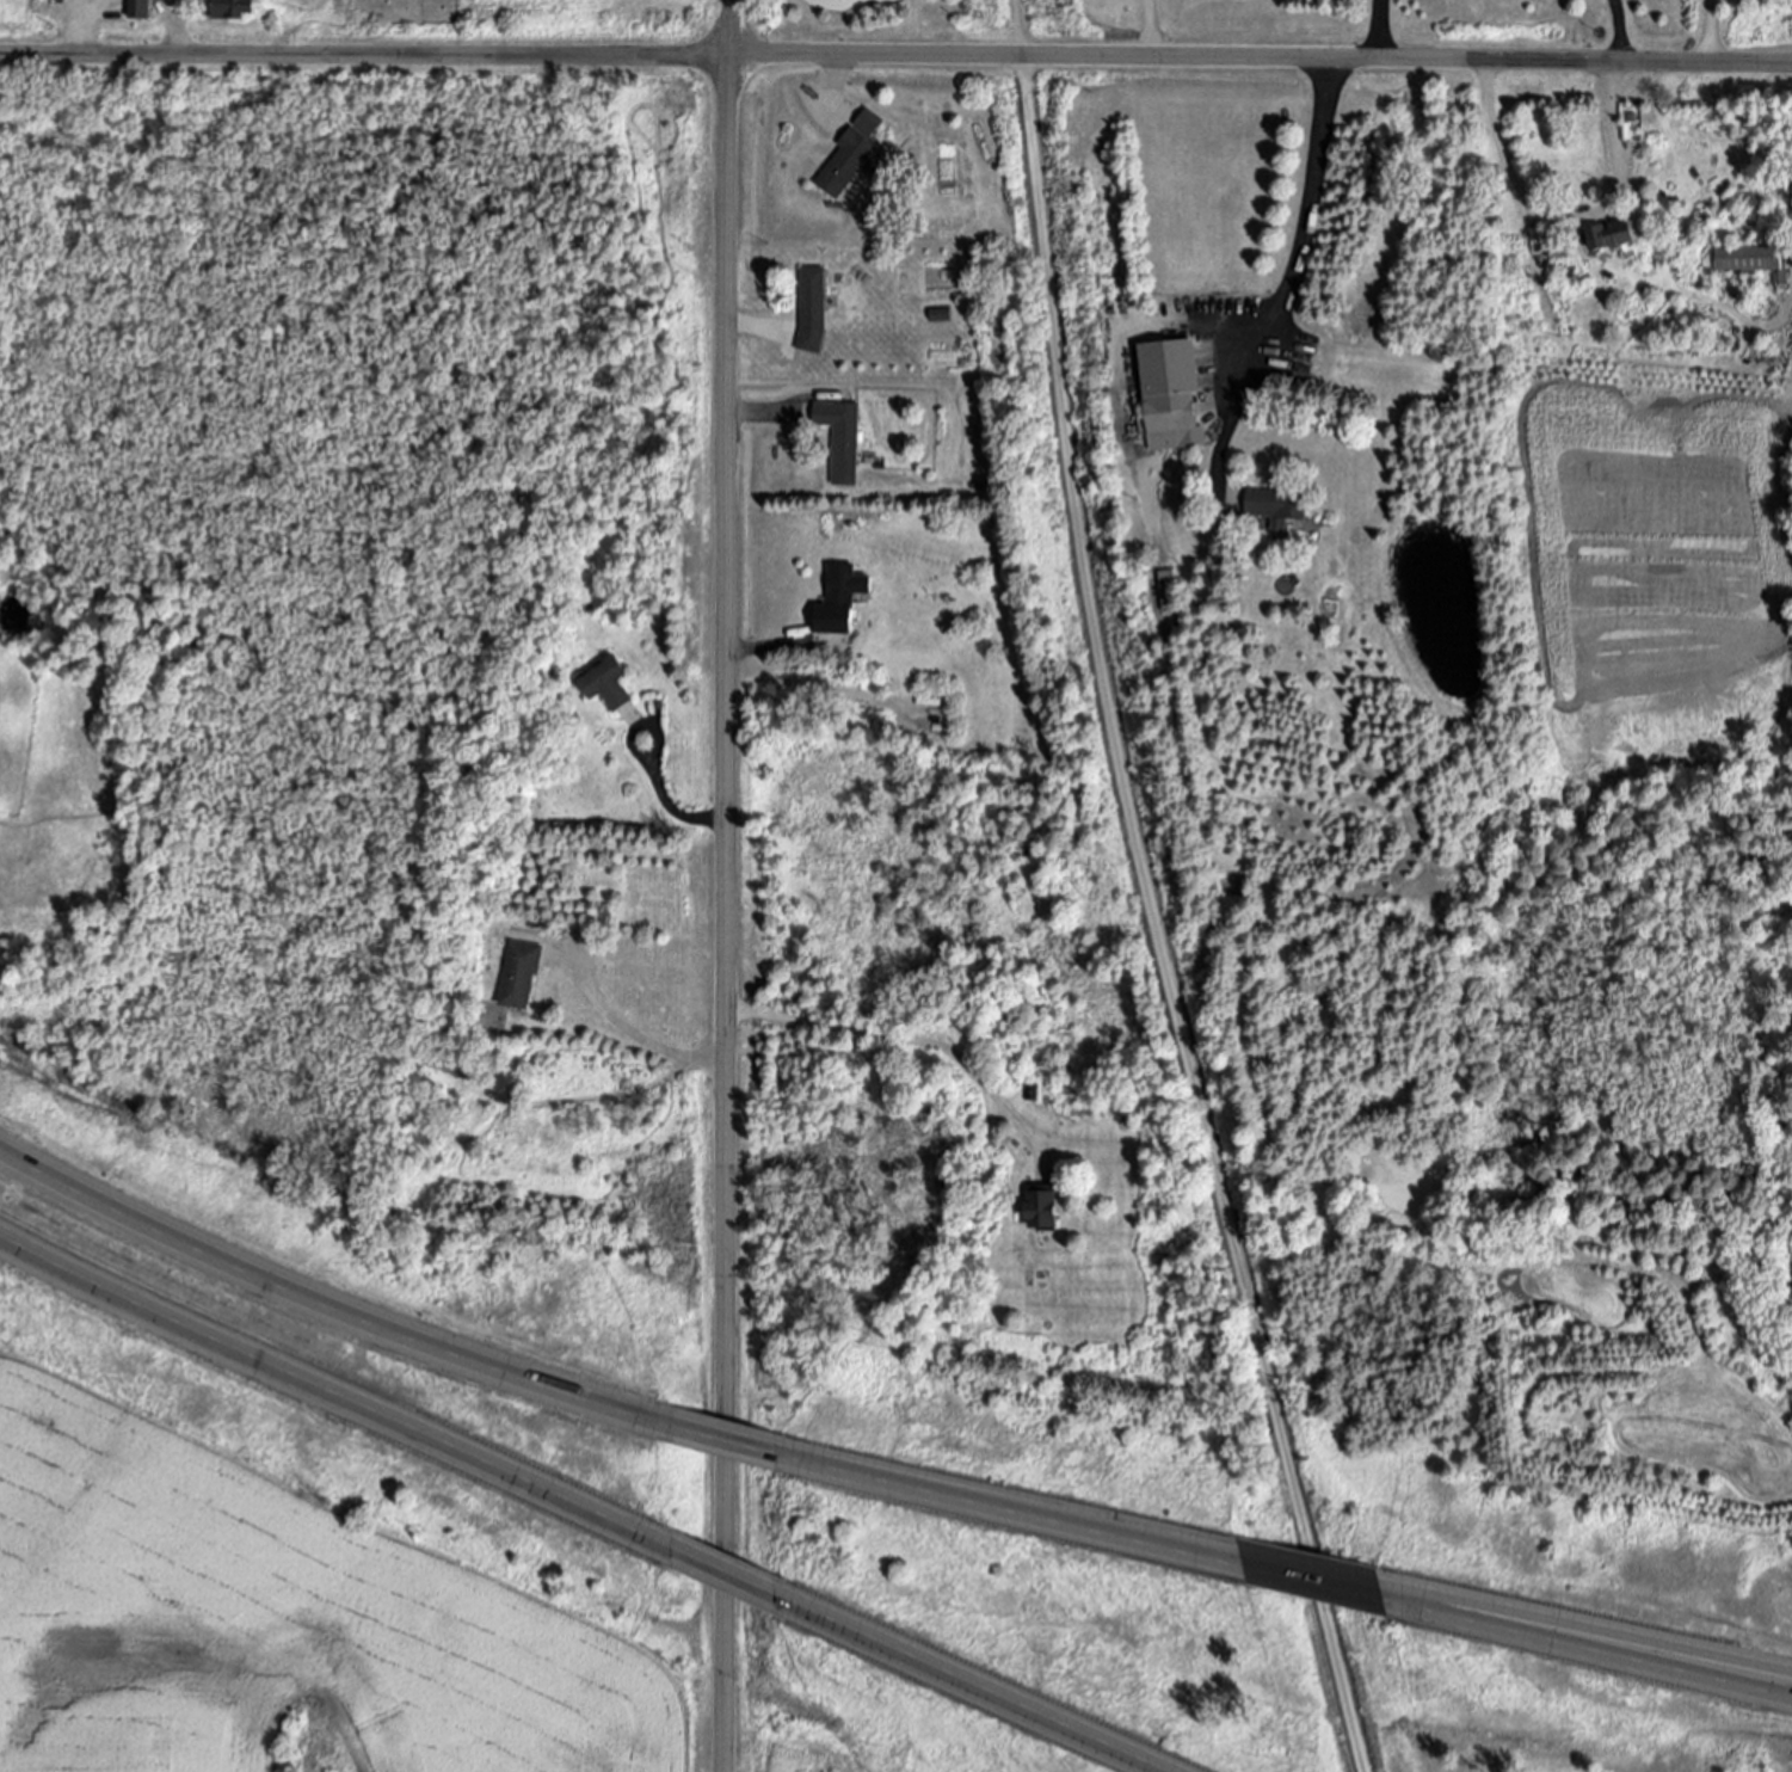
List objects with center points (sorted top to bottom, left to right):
road: (850, 1)
building: (142, 8)
building: (233, 10)
road: (78, 27)
road: (181, 27)
road: (729, 29)
road: (1149, 29)
road: (1374, 30)
road: (1706, 32)
road: (895, 57)
building: (848, 158)
road: (1593, 207)
building: (1608, 238)
road: (1304, 241)
building: (1749, 259)
building: (812, 297)
road: (750, 316)
building: (1172, 396)
road: (755, 413)
building: (840, 441)
building: (1280, 506)
building: (845, 598)
road: (764, 644)
building: (609, 684)
road: (669, 802)
road: (1151, 892)
road: (725, 913)
building: (522, 974)
road: (633, 1035)
road: (900, 1042)
building: (456, 1066)
building: (1048, 1208)
road: (325, 1310)
road: (334, 1391)
road: (733, 1452)
road: (997, 1512)
road: (1297, 1575)
road: (739, 1587)
road: (1596, 1635)
road: (1596, 1647)
road: (984, 1696)

